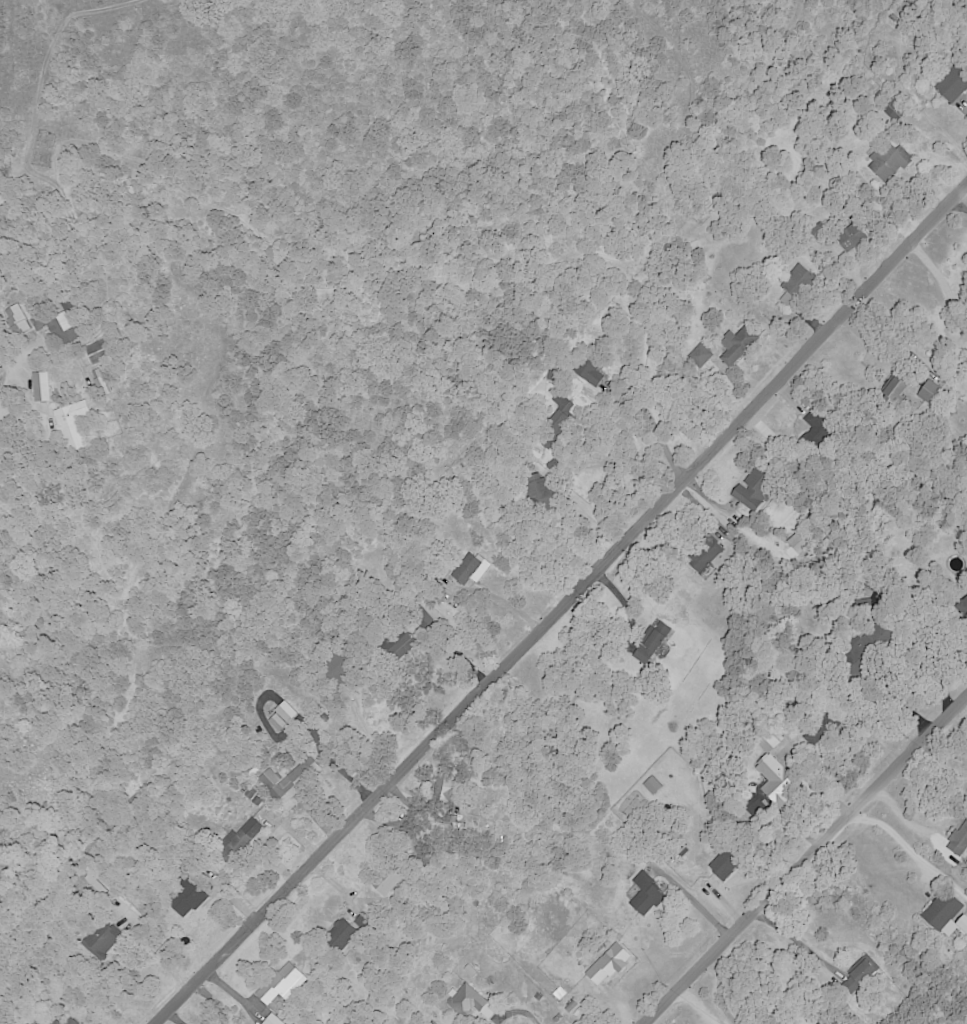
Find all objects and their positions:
building: (950, 87)
building: (887, 162)
road: (958, 205)
building: (850, 237)
building: (793, 280)
road: (940, 281)
building: (16, 320)
building: (61, 329)
building: (736, 347)
building: (99, 352)
building: (699, 355)
building: (592, 373)
road: (4, 377)
building: (100, 386)
building: (40, 387)
building: (893, 391)
building: (929, 393)
building: (70, 425)
road: (44, 438)
road: (625, 469)
building: (752, 488)
building: (541, 495)
building: (705, 555)
building: (469, 569)
road: (500, 601)
road: (560, 604)
building: (652, 642)
building: (401, 647)
road: (896, 703)
building: (281, 717)
road: (370, 740)
building: (766, 741)
building: (268, 779)
building: (295, 781)
building: (776, 782)
building: (443, 787)
building: (250, 829)
road: (889, 831)
road: (273, 838)
building: (958, 840)
road: (803, 860)
building: (723, 865)
building: (390, 881)
building: (642, 895)
building: (185, 899)
road: (691, 901)
building: (946, 915)
building: (339, 935)
road: (793, 940)
building: (100, 942)
road: (151, 945)
building: (608, 964)
building: (861, 972)
building: (281, 984)
road: (721, 992)
building: (469, 1002)
road: (518, 1012)
building: (272, 1020)
building: (70, 1021)
building: (56, 1022)
building: (822, 1022)

